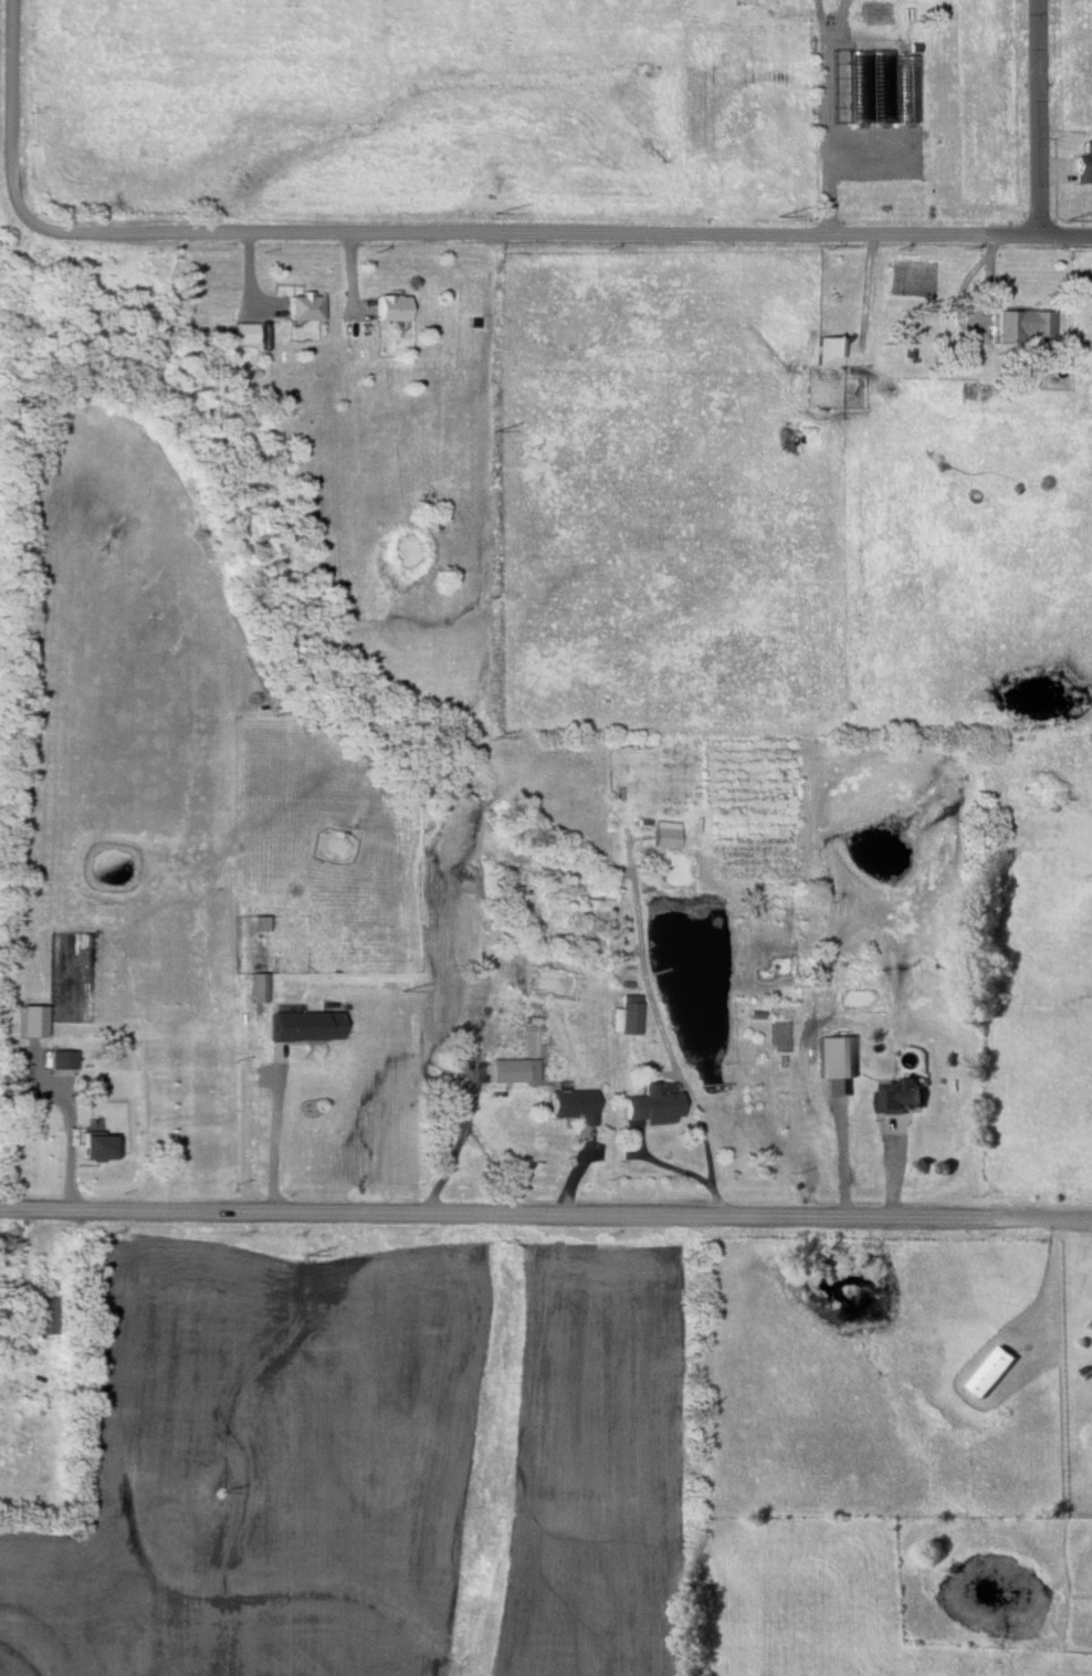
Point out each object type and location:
road: (826, 36)
building: (892, 76)
road: (13, 111)
road: (1035, 118)
road: (825, 137)
building: (1082, 161)
road: (559, 233)
building: (302, 305)
building: (389, 306)
building: (1019, 322)
building: (262, 332)
building: (241, 334)
building: (826, 352)
crop: (2, 496)
building: (663, 837)
building: (623, 1017)
building: (302, 1028)
building: (832, 1057)
building: (55, 1061)
building: (512, 1072)
building: (899, 1097)
building: (570, 1108)
building: (649, 1108)
road: (276, 1142)
building: (85, 1149)
road: (839, 1158)
road: (546, 1214)
building: (39, 1317)
building: (993, 1371)
crop: (263, 1465)
crop: (600, 1466)

